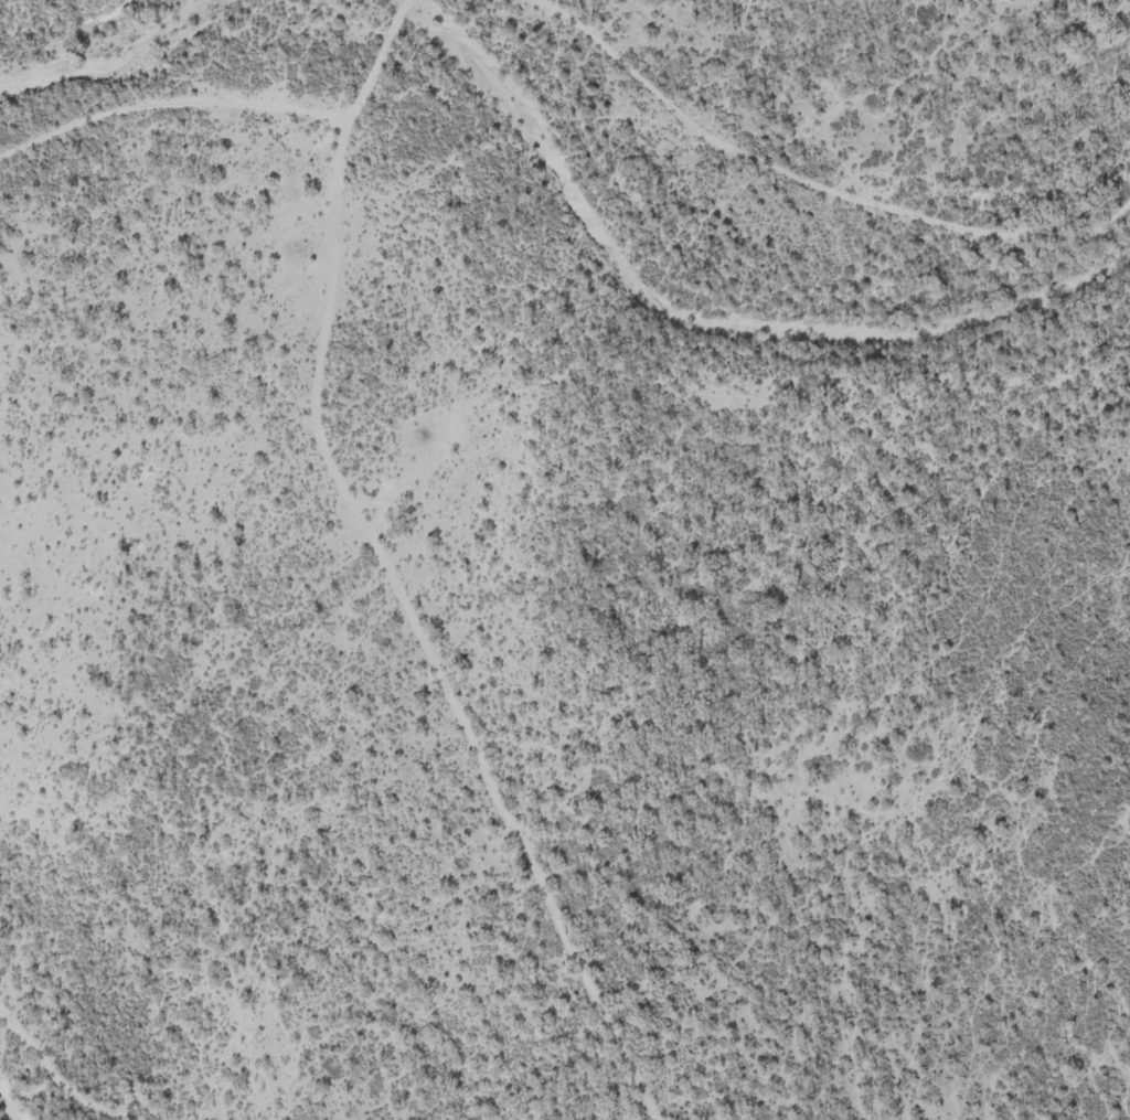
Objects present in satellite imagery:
road: (810, 186)
road: (387, 572)

